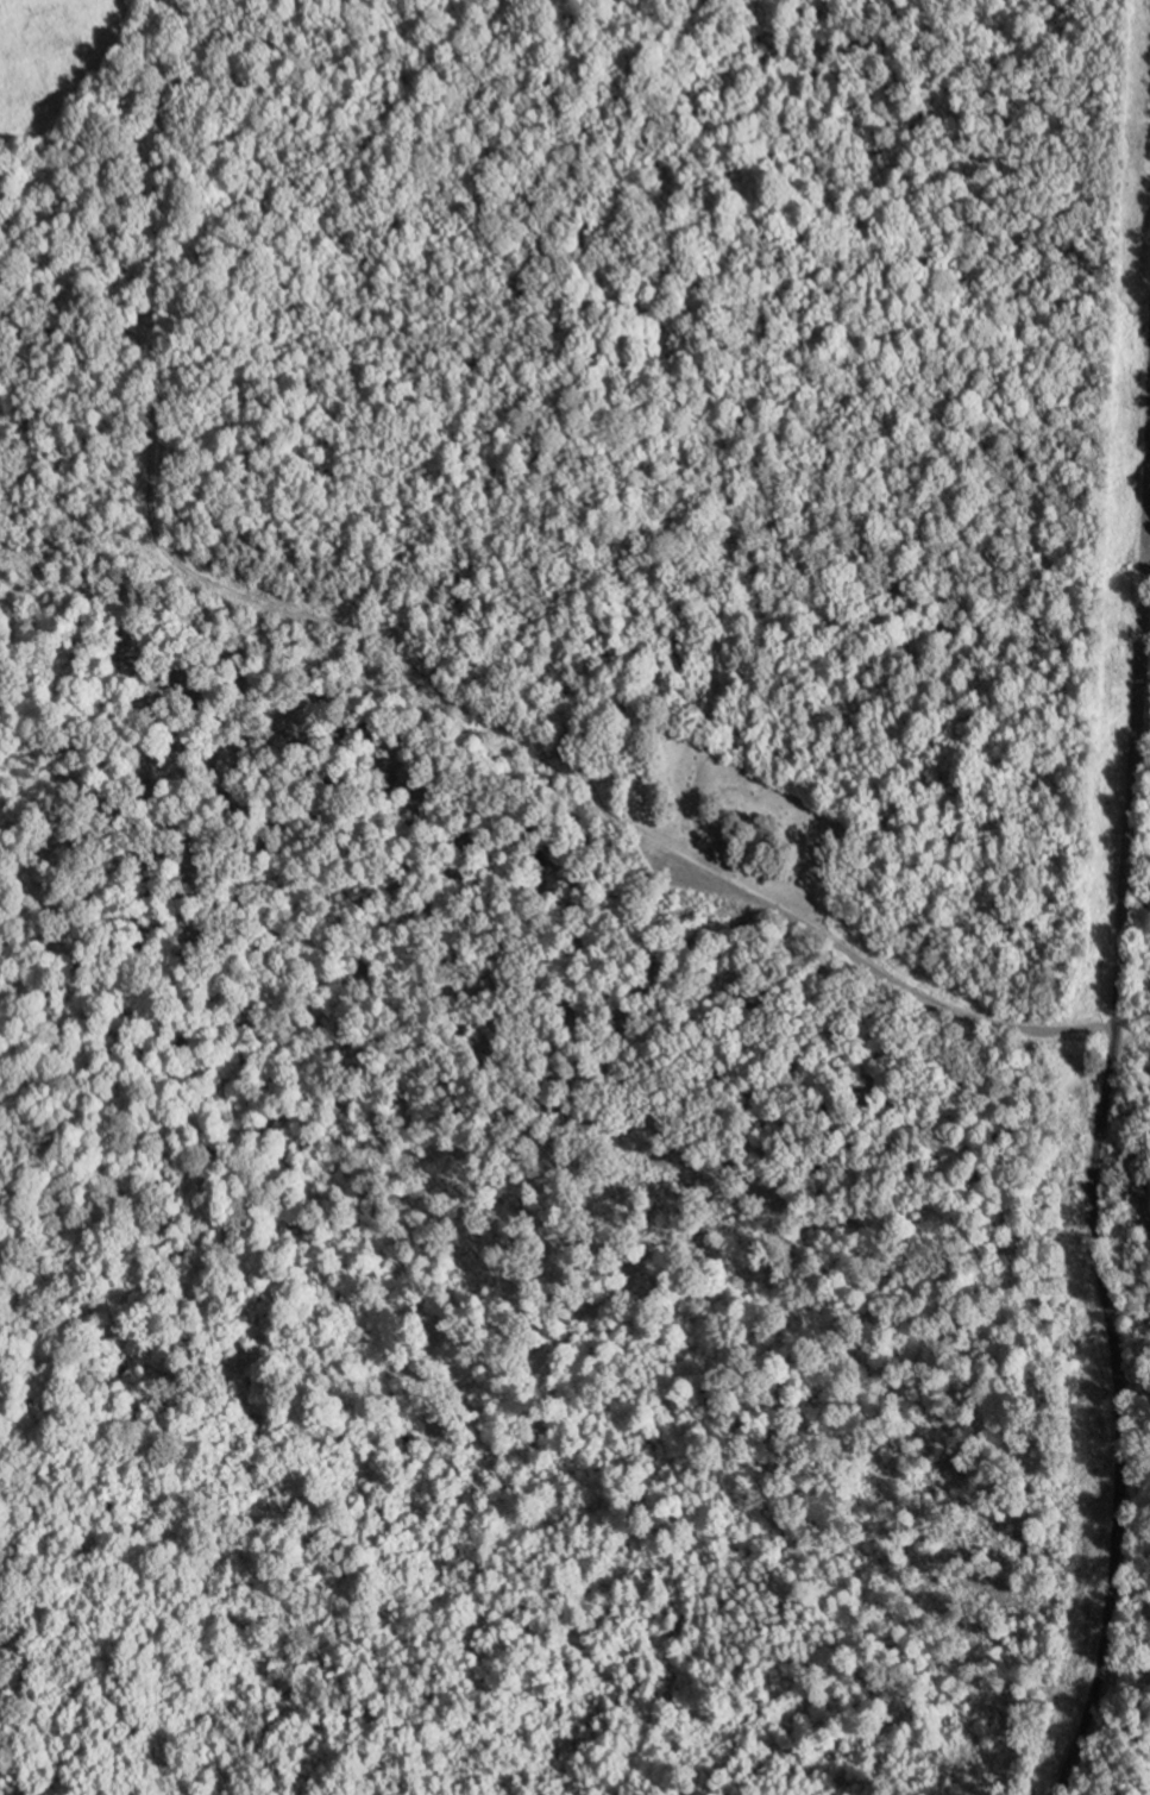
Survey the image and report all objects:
road: (903, 985)
road: (1132, 1036)
road: (1100, 1123)

